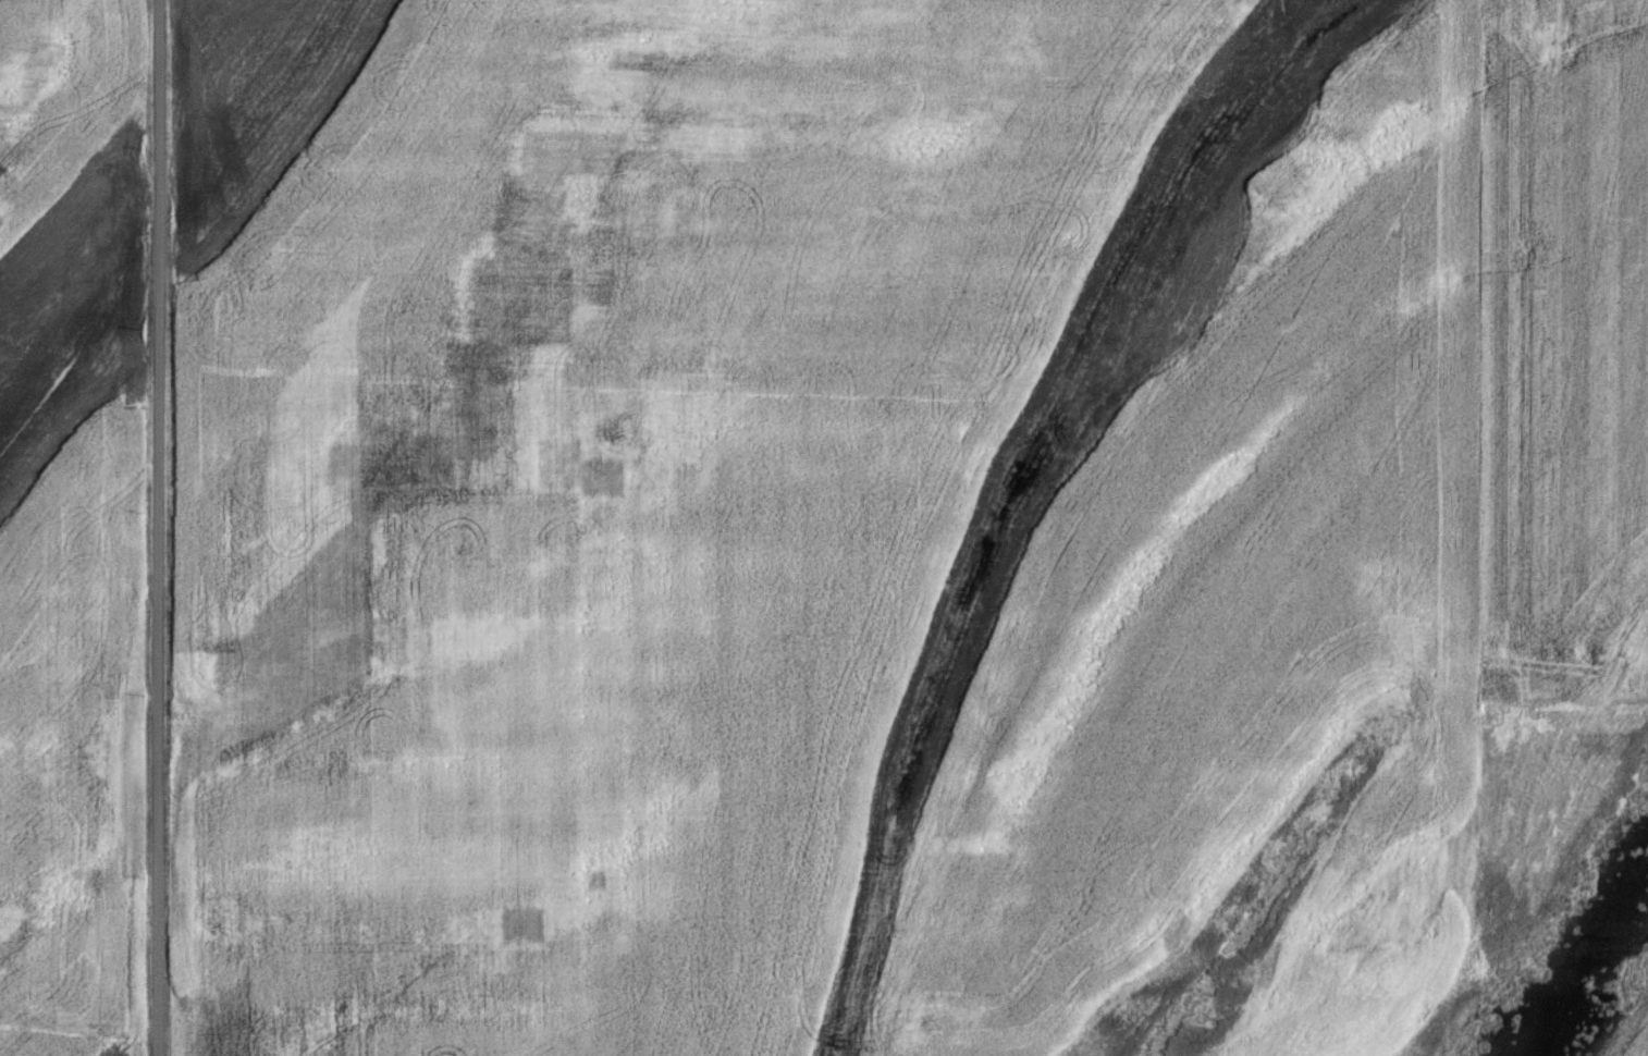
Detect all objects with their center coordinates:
road: (155, 528)

